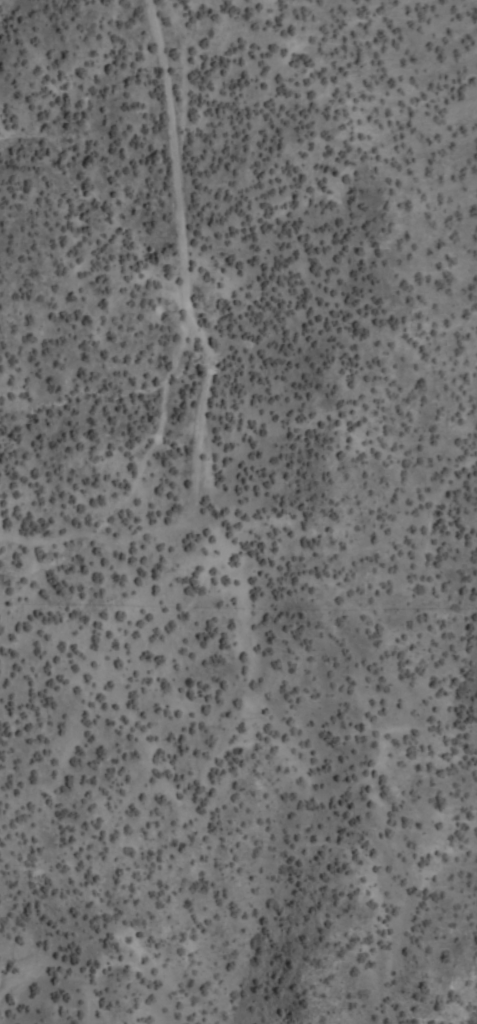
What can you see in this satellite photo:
road: (197, 266)

